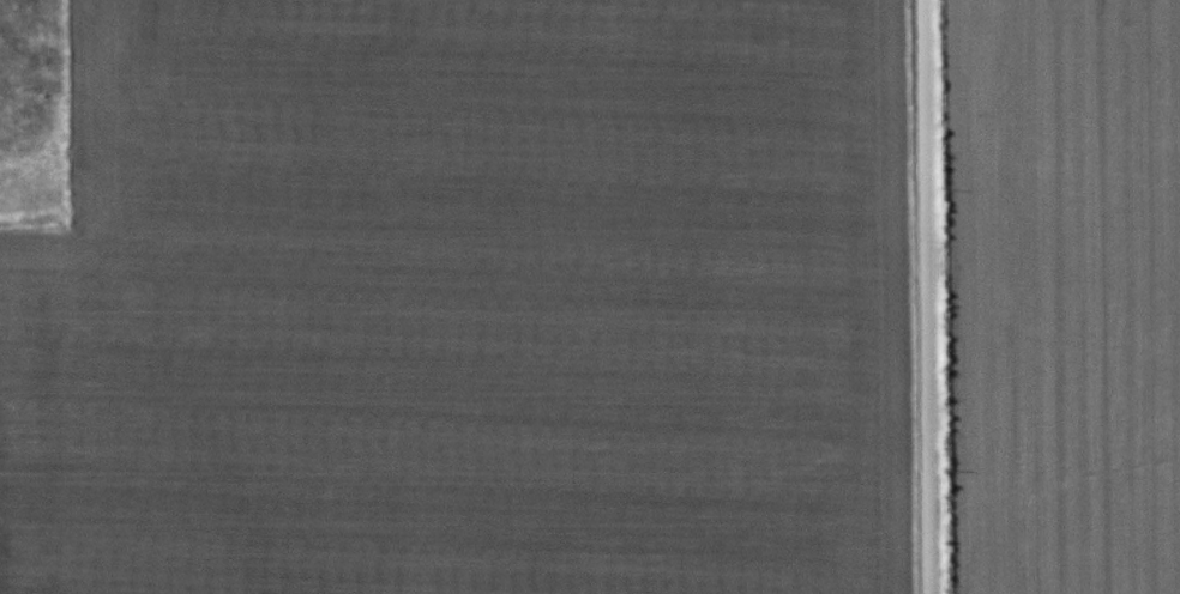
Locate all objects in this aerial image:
road: (926, 297)

